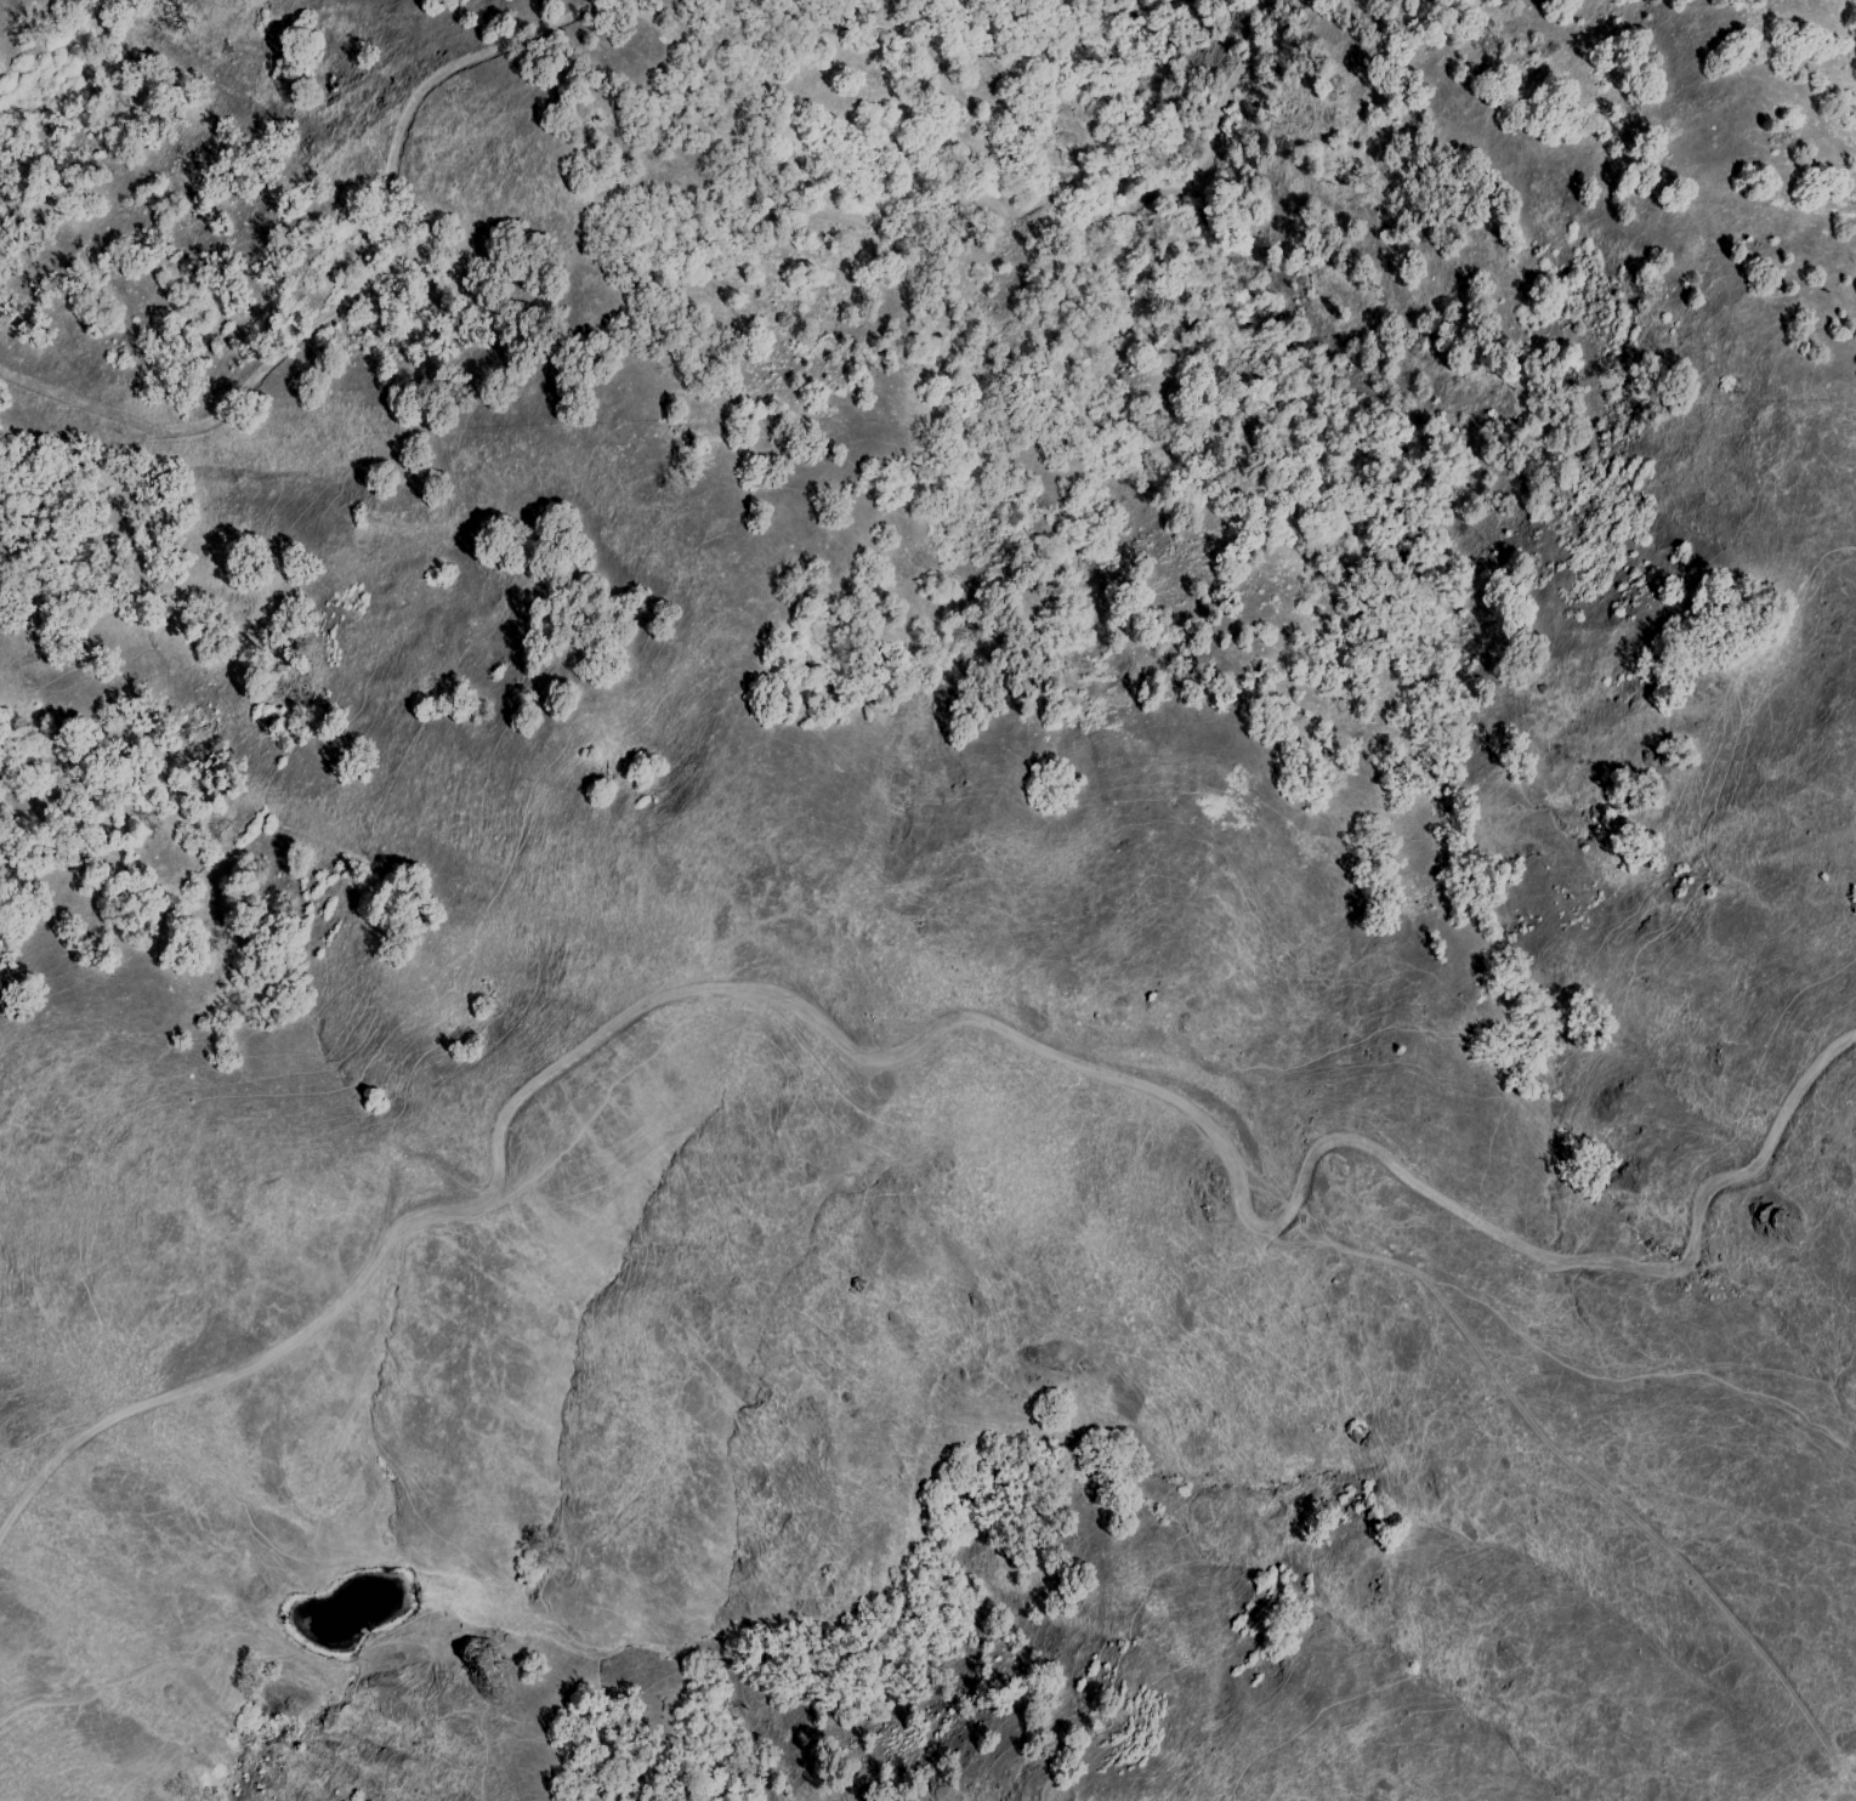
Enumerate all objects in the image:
road: (953, 1023)

